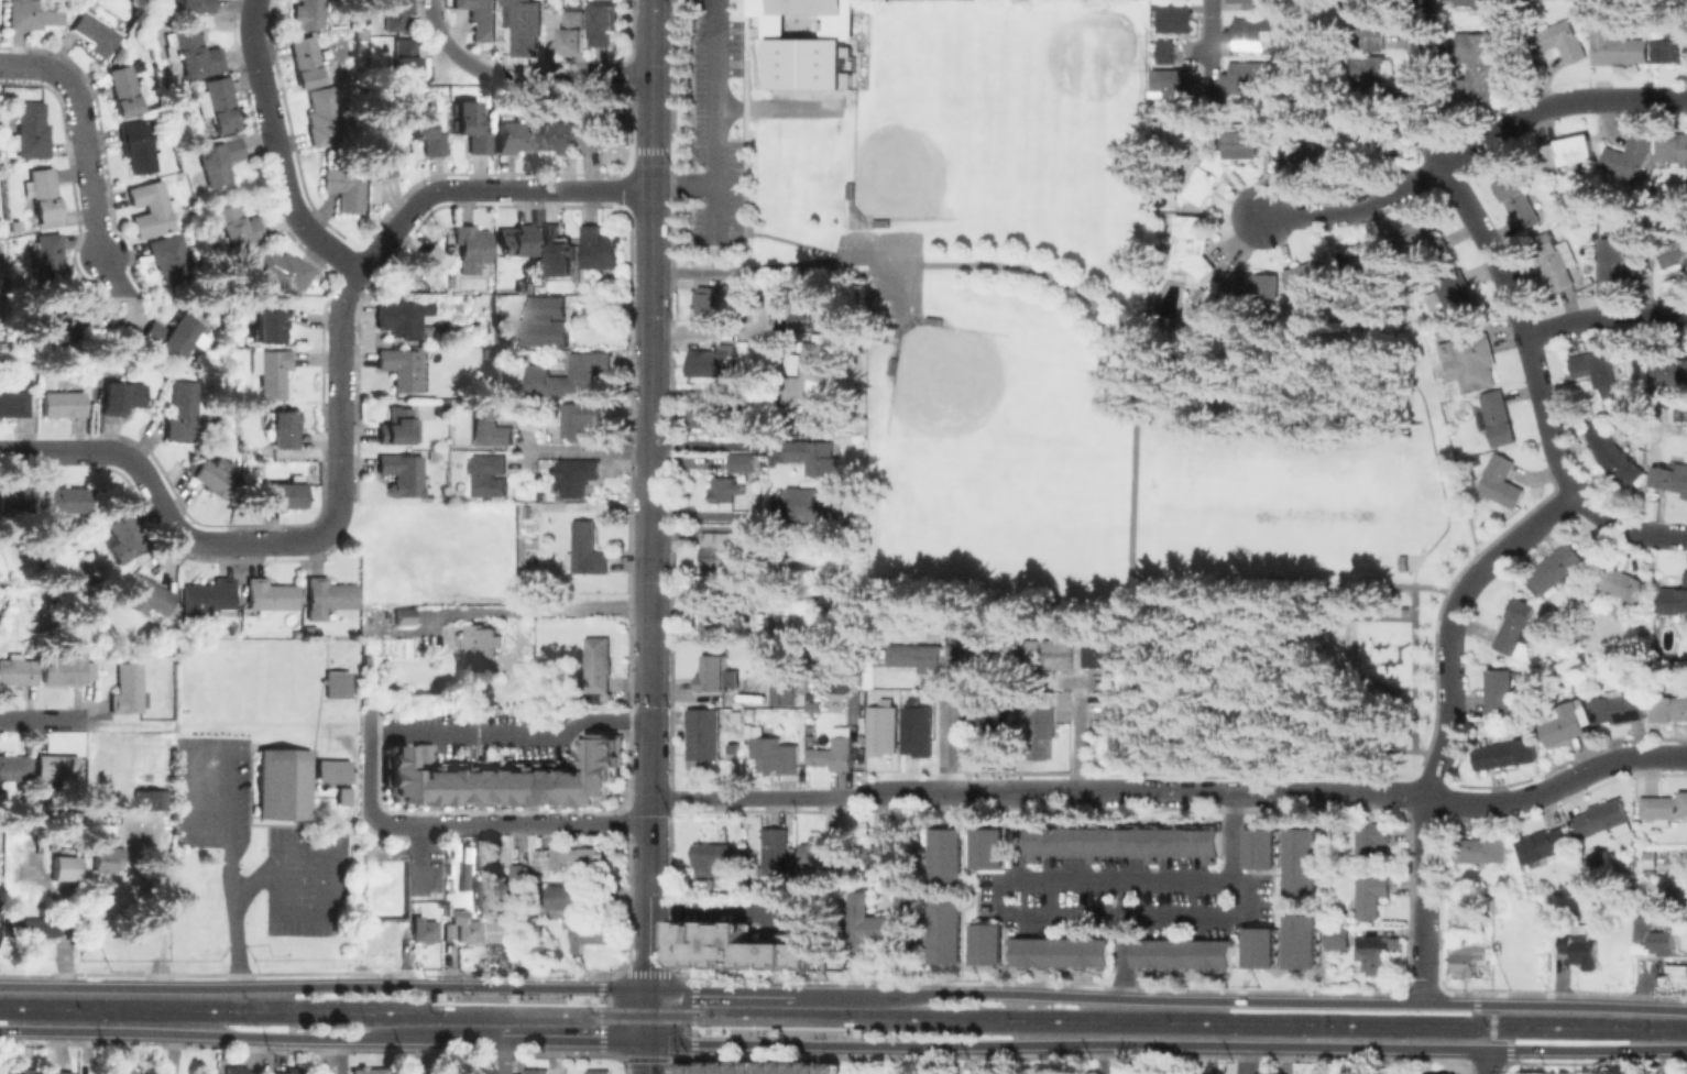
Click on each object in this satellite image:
building: (1246, 0)
building: (1488, 4)
building: (194, 6)
road: (1205, 11)
building: (34, 12)
building: (308, 13)
building: (394, 13)
road: (1421, 14)
building: (1172, 15)
building: (480, 19)
building: (1374, 25)
building: (604, 28)
building: (526, 30)
building: (571, 32)
building: (1251, 32)
building: (97, 33)
building: (804, 41)
building: (1563, 41)
building: (1618, 46)
building: (1670, 50)
building: (1163, 51)
building: (196, 53)
building: (118, 55)
building: (405, 58)
building: (306, 61)
road: (34, 63)
building: (1481, 63)
building: (1370, 73)
road: (521, 75)
building: (1247, 76)
building: (1171, 83)
building: (125, 90)
building: (218, 103)
building: (321, 116)
road: (715, 118)
building: (472, 127)
building: (423, 129)
building: (32, 130)
building: (1377, 133)
building: (602, 134)
building: (514, 136)
building: (560, 136)
building: (1244, 144)
building: (138, 145)
road: (280, 147)
building: (1674, 147)
building: (387, 150)
road: (1470, 151)
building: (1569, 151)
building: (1304, 156)
building: (1630, 156)
building: (219, 158)
road: (91, 165)
building: (1207, 180)
road: (684, 186)
road: (489, 188)
building: (344, 189)
building: (43, 195)
building: (1519, 201)
building: (151, 209)
building: (235, 222)
building: (15, 226)
building: (516, 239)
building: (1420, 239)
building: (471, 246)
building: (601, 246)
building: (1191, 249)
building: (557, 251)
building: (1674, 252)
building: (1621, 254)
building: (1363, 257)
building: (1556, 259)
building: (173, 261)
building: (51, 262)
road: (1490, 262)
building: (423, 266)
building: (284, 268)
road: (753, 268)
building: (1305, 277)
building: (1252, 285)
building: (1455, 297)
building: (708, 303)
building: (797, 305)
road: (1097, 309)
building: (1197, 309)
building: (403, 316)
road: (1606, 318)
building: (64, 321)
building: (541, 321)
building: (270, 327)
road: (714, 329)
building: (172, 336)
building: (1474, 358)
building: (711, 360)
building: (1596, 366)
building: (402, 368)
building: (271, 371)
building: (1670, 371)
park: (1080, 372)
building: (808, 375)
building: (571, 376)
road: (340, 383)
building: (122, 396)
building: (18, 401)
building: (64, 403)
building: (735, 406)
building: (183, 413)
building: (702, 415)
building: (1497, 417)
building: (581, 420)
building: (399, 426)
building: (491, 428)
building: (284, 429)
road: (715, 446)
road: (589, 450)
road: (45, 453)
building: (817, 454)
building: (1614, 454)
building: (745, 463)
building: (404, 475)
building: (578, 476)
building: (1670, 476)
building: (211, 478)
building: (489, 478)
building: (1500, 481)
building: (727, 489)
building: (280, 493)
road: (651, 494)
building: (19, 498)
building: (66, 501)
building: (815, 502)
road: (340, 509)
building: (544, 512)
road: (714, 515)
road: (1628, 528)
building: (814, 529)
building: (123, 538)
road: (199, 539)
building: (720, 548)
building: (587, 549)
building: (1557, 567)
building: (1624, 584)
road: (1471, 587)
building: (150, 595)
building: (270, 595)
building: (328, 596)
building: (208, 598)
building: (1675, 601)
road: (551, 606)
building: (404, 615)
building: (720, 620)
building: (802, 628)
building: (1518, 628)
building: (404, 635)
building: (482, 640)
building: (973, 649)
building: (1053, 650)
building: (1105, 651)
building: (918, 656)
building: (66, 667)
building: (598, 668)
building: (1573, 670)
building: (18, 671)
building: (714, 672)
building: (338, 683)
building: (128, 689)
building: (1501, 690)
building: (784, 691)
building: (814, 705)
building: (1618, 706)
building: (1669, 708)
road: (44, 721)
building: (1565, 725)
building: (880, 728)
building: (914, 728)
building: (986, 728)
building: (1121, 730)
building: (1042, 731)
building: (703, 733)
road: (510, 734)
road: (1081, 736)
building: (1507, 753)
building: (776, 754)
building: (834, 754)
road: (1437, 763)
road: (366, 766)
building: (14, 767)
building: (57, 767)
building: (333, 770)
building: (507, 780)
building: (285, 786)
road: (228, 787)
road: (1559, 787)
road: (1193, 792)
building: (343, 796)
road: (801, 798)
building: (146, 799)
building: (1664, 807)
building: (1602, 817)
road: (511, 823)
road: (1234, 837)
road: (1426, 839)
building: (1373, 840)
building: (1122, 842)
building: (1546, 845)
building: (820, 846)
building: (1259, 847)
building: (990, 848)
building: (1483, 848)
building: (775, 851)
building: (1678, 853)
building: (712, 855)
building: (950, 855)
building: (108, 856)
building: (468, 856)
building: (569, 859)
building: (1301, 861)
building: (1600, 861)
road: (322, 866)
building: (62, 867)
building: (1681, 872)
building: (519, 873)
building: (449, 887)
building: (705, 887)
building: (1371, 894)
building: (563, 900)
road: (732, 911)
building: (1, 914)
building: (66, 916)
road: (1015, 916)
building: (884, 920)
building: (1464, 924)
building: (32, 925)
building: (1482, 925)
building: (467, 928)
building: (516, 928)
building: (424, 929)
building: (502, 930)
building: (949, 931)
building: (588, 935)
building: (1655, 935)
building: (1339, 936)
road: (1126, 940)
building: (1300, 941)
road: (1426, 942)
building: (990, 944)
building: (1259, 946)
building: (1580, 947)
building: (736, 949)
building: (1062, 951)
building: (1376, 951)
building: (1182, 953)
building: (1465, 961)
road: (464, 983)
road: (324, 986)
traffic signals: (648, 989)
road: (720, 990)
railway: (582, 994)
road: (529, 997)
road: (1239, 1001)
railway: (215, 1004)
railway: (511, 1007)
railway: (646, 1008)
railway: (305, 1009)
railway: (296, 1015)
railway: (1193, 1016)
railway: (645, 1019)
railway: (781, 1021)
railway: (1275, 1027)
road: (1493, 1027)
road: (759, 1030)
road: (648, 1031)
road: (251, 1037)
railway: (863, 1037)
road: (576, 1040)
road: (600, 1041)
traffic signals: (648, 1042)
road: (1166, 1044)
road: (819, 1046)
road: (502, 1056)
road: (1104, 1059)
road: (902, 1060)
road: (982, 1060)
road: (1242, 1060)
road: (1487, 1061)
building: (758, 1067)
building: (240, 1070)
building: (296, 1070)
building: (23, 1071)
building: (123, 1071)
building: (364, 1071)
building: (478, 1071)
building: (536, 1071)
building: (598, 1071)
building: (58, 1072)

